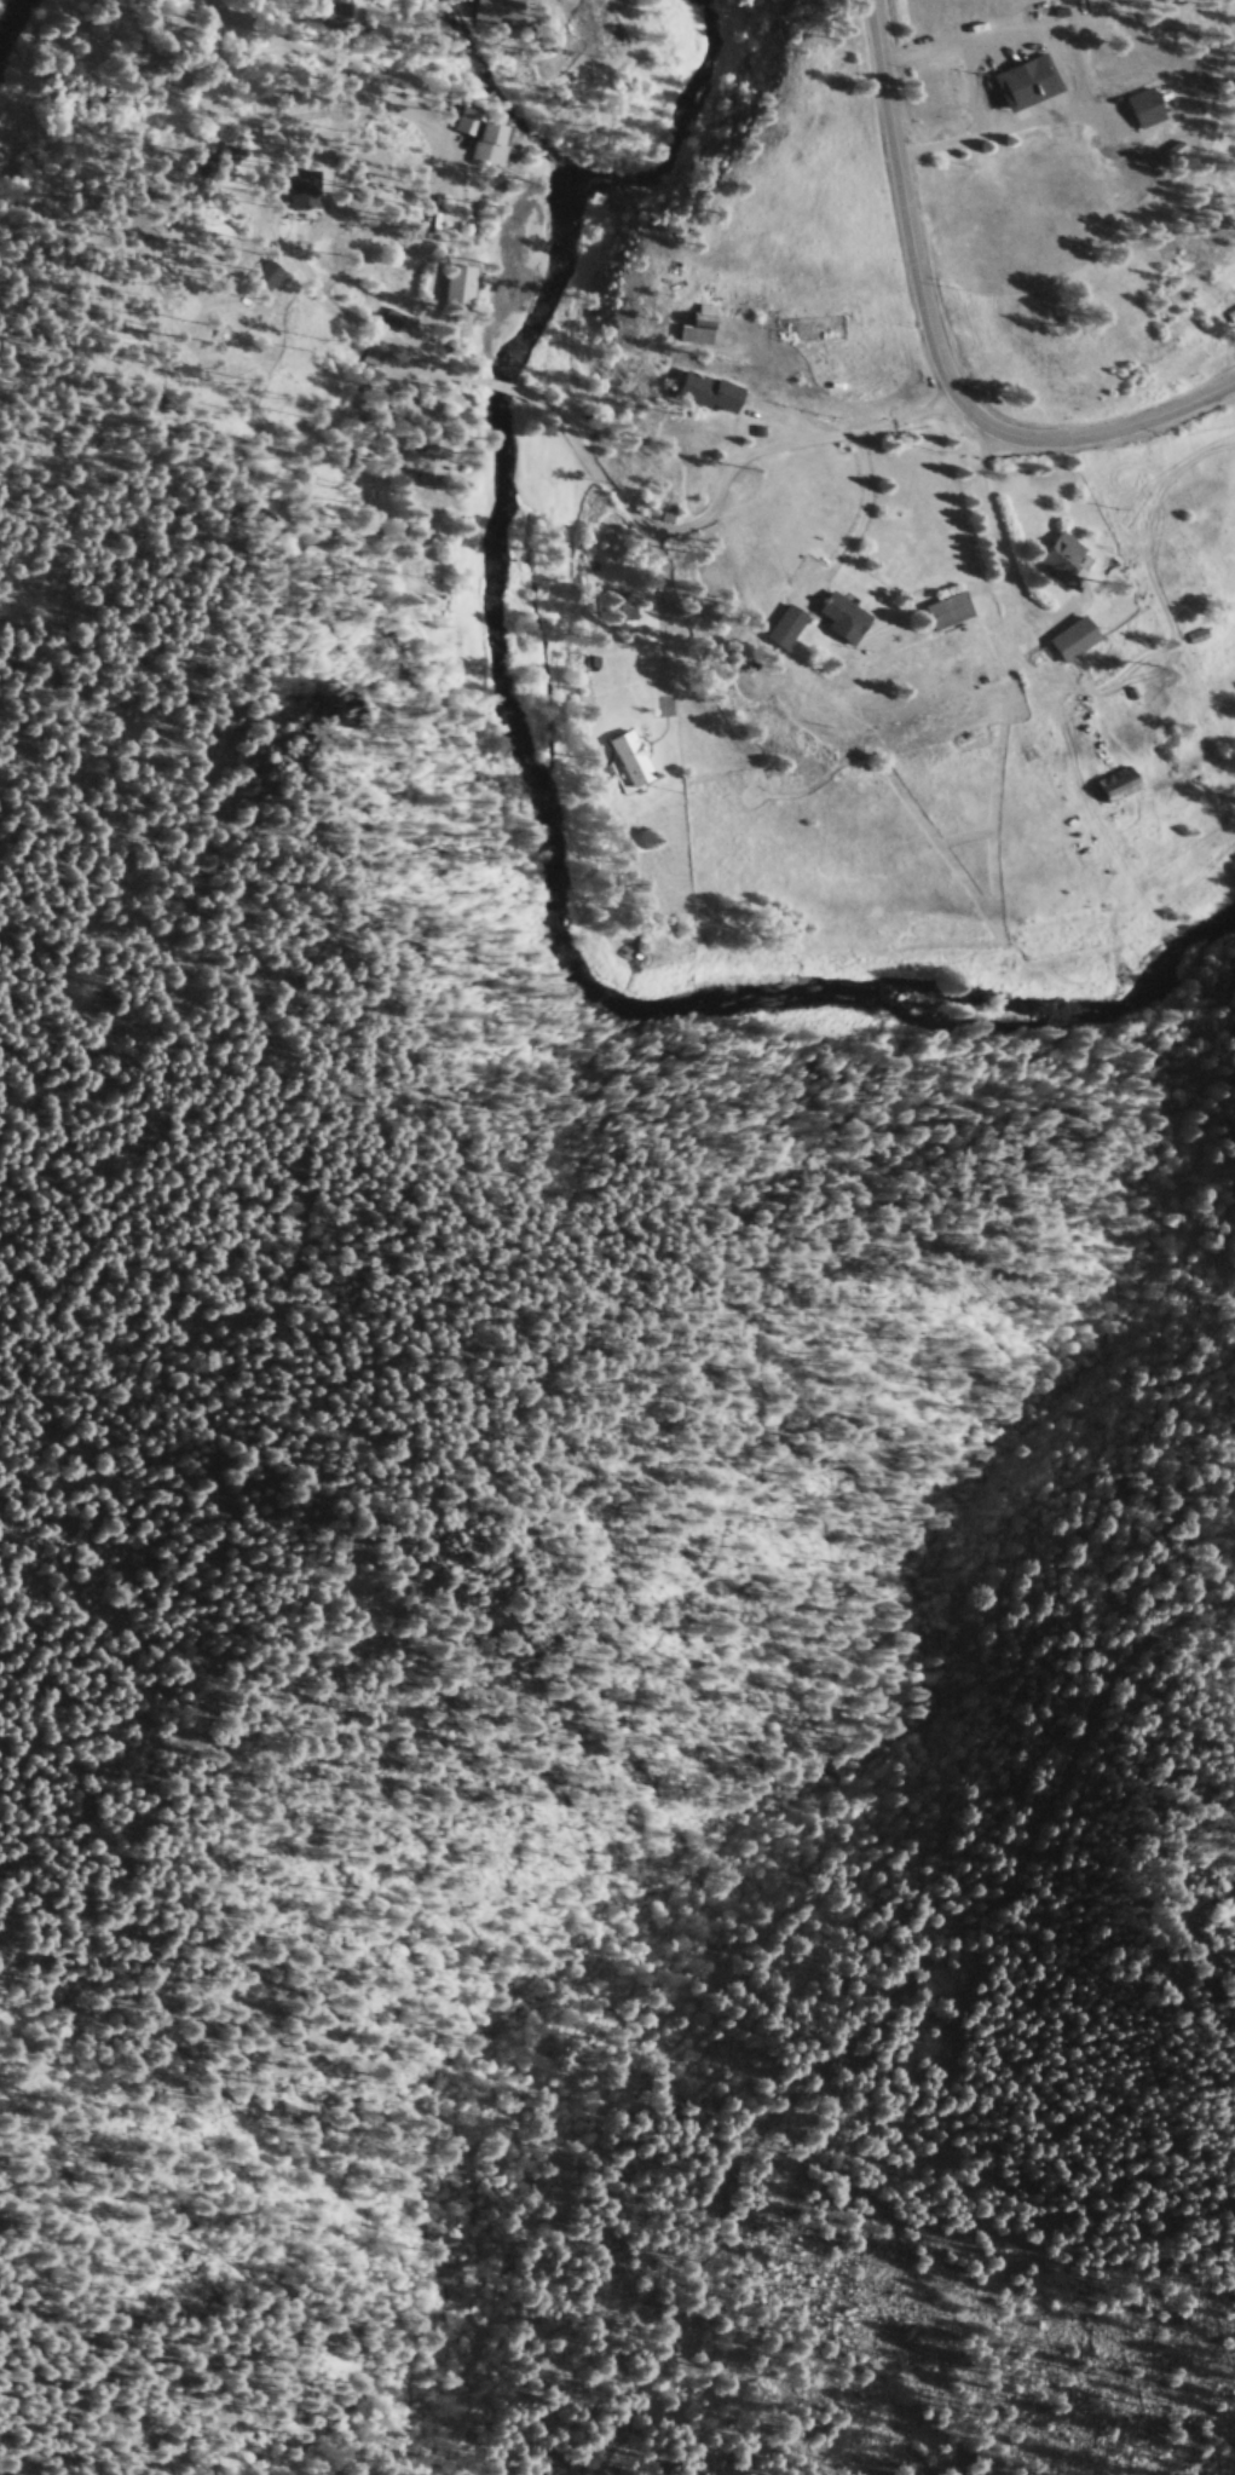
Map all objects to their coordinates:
road: (542, 4)
building: (496, 21)
building: (333, 24)
road: (300, 98)
building: (1032, 99)
building: (1156, 128)
building: (126, 129)
building: (477, 149)
road: (966, 150)
road: (445, 177)
building: (302, 202)
building: (265, 289)
building: (452, 296)
building: (704, 336)
road: (377, 344)
road: (937, 351)
road: (509, 398)
building: (710, 405)
building: (399, 426)
building: (415, 472)
road: (720, 504)
road: (859, 531)
road: (997, 552)
building: (1067, 570)
building: (617, 621)
building: (953, 621)
building: (846, 633)
building: (790, 642)
road: (663, 645)
building: (1080, 654)
building: (627, 765)
building: (1125, 795)
road: (604, 1189)
road: (854, 2020)
road: (178, 2198)

